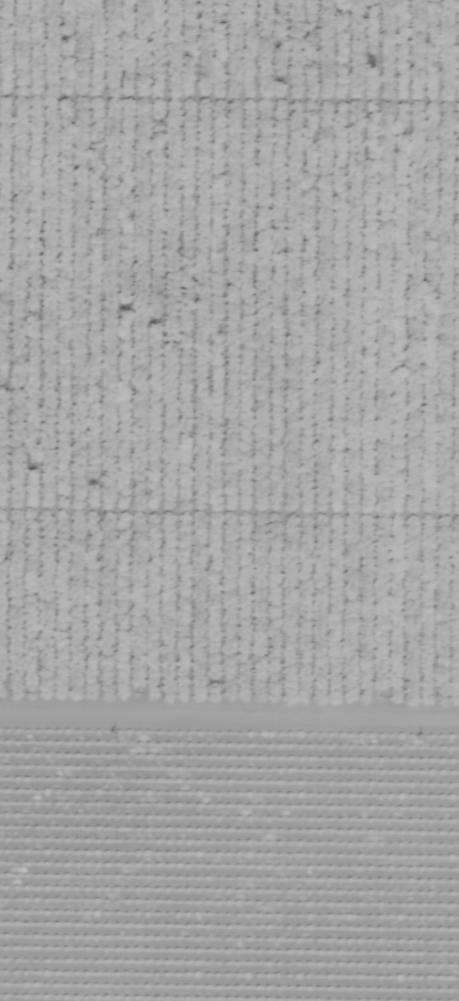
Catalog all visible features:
road: (229, 686)
crop: (229, 833)

